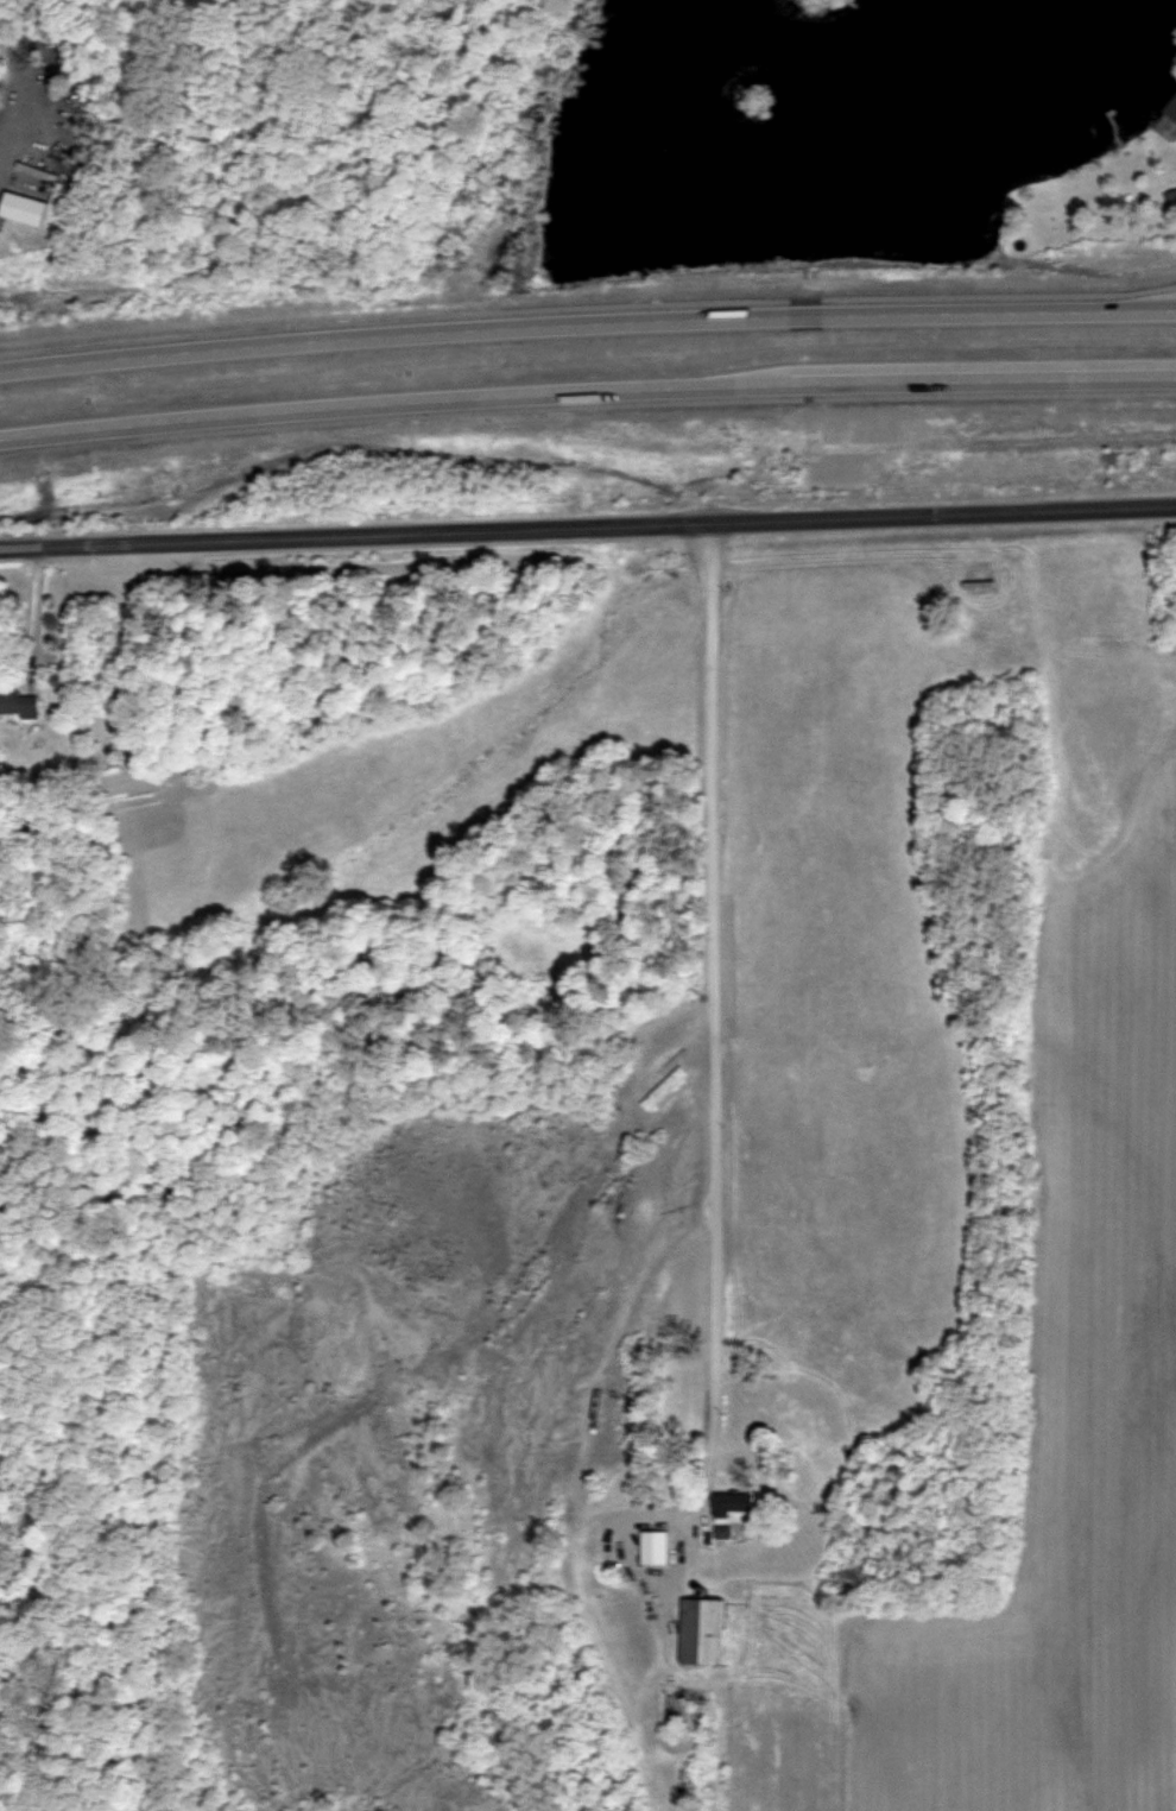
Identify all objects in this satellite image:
building: (1170, 109)
road: (6, 115)
building: (23, 208)
road: (587, 322)
road: (587, 403)
road: (588, 529)
road: (33, 617)
building: (19, 705)
building: (664, 1089)
road: (713, 1185)
building: (734, 1510)
building: (653, 1548)
building: (701, 1632)

